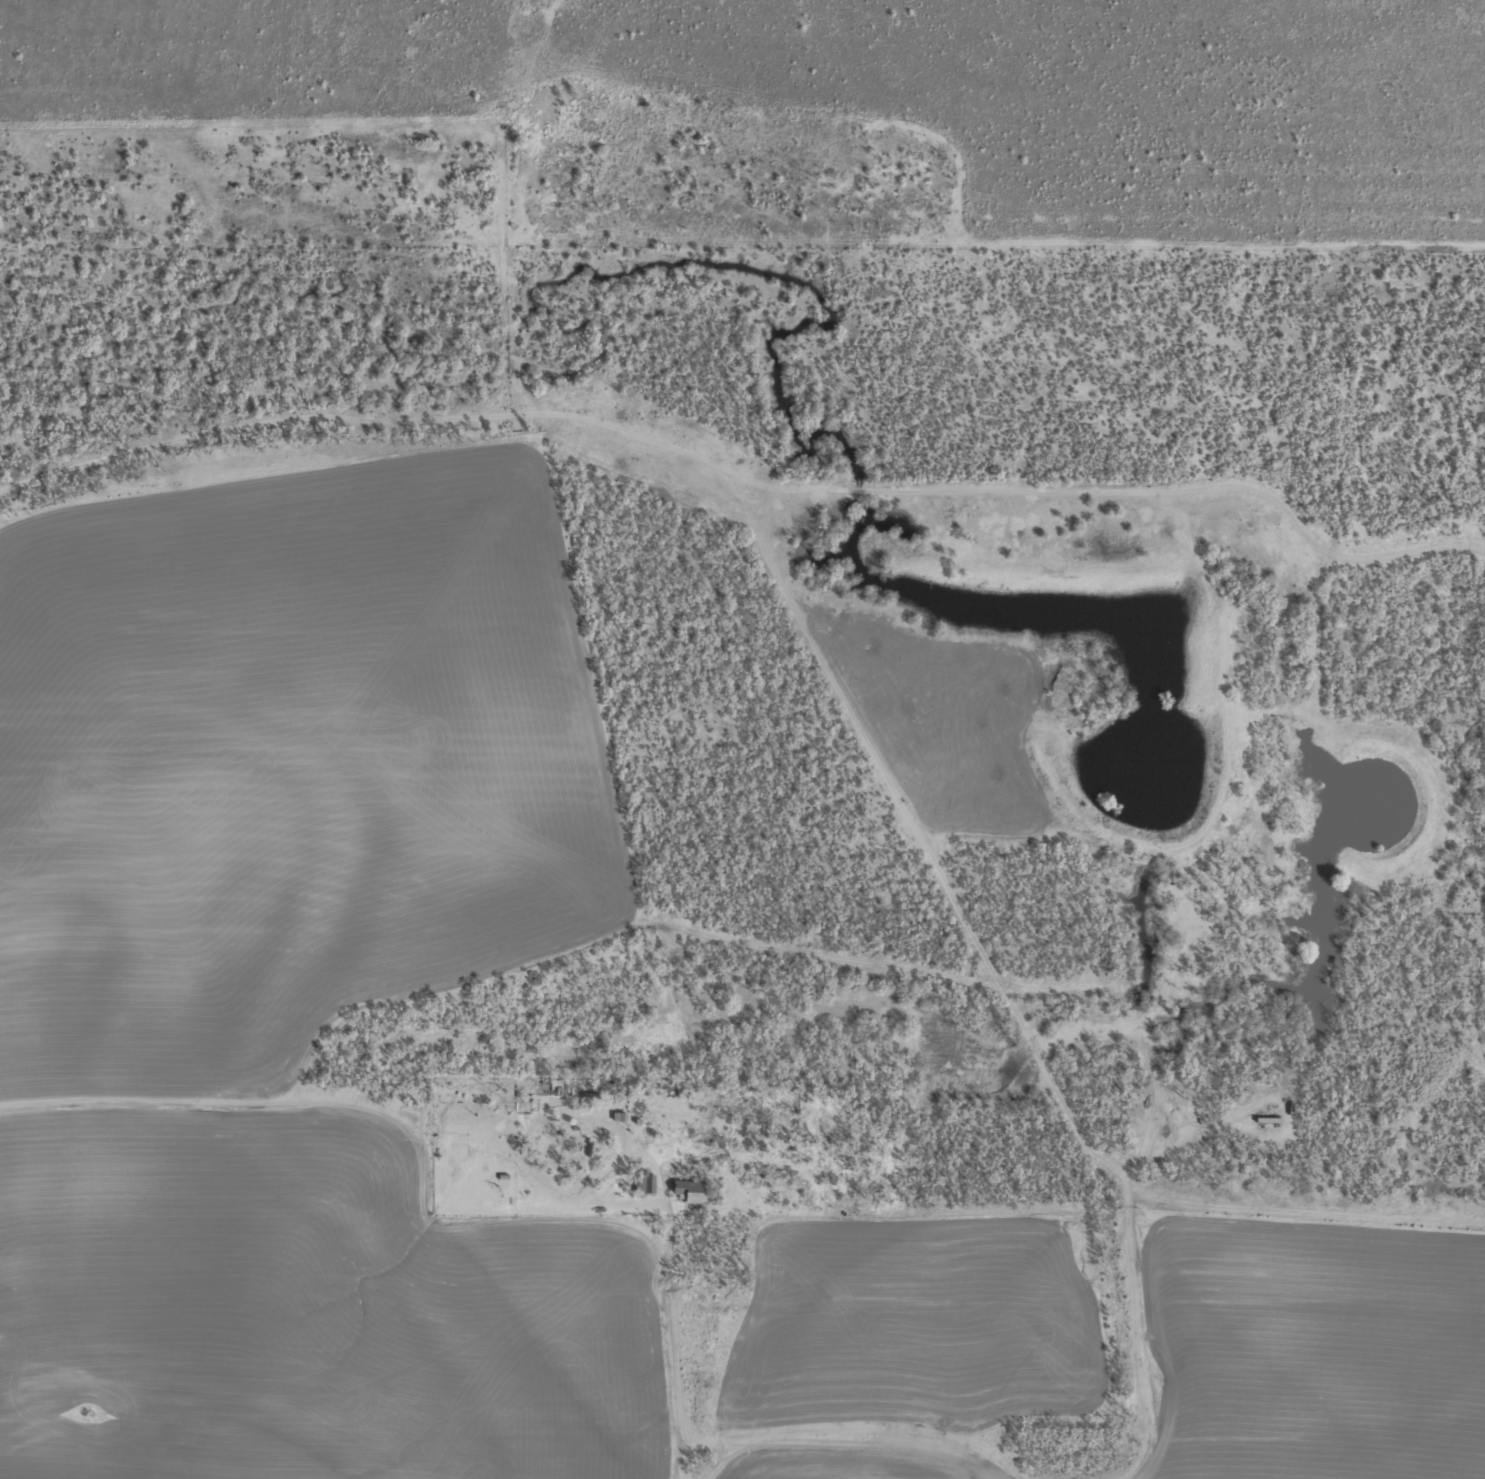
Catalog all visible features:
road: (204, 126)
road: (28, 504)
road: (995, 952)
road: (461, 1108)
building: (688, 1191)
road: (262, 1286)

